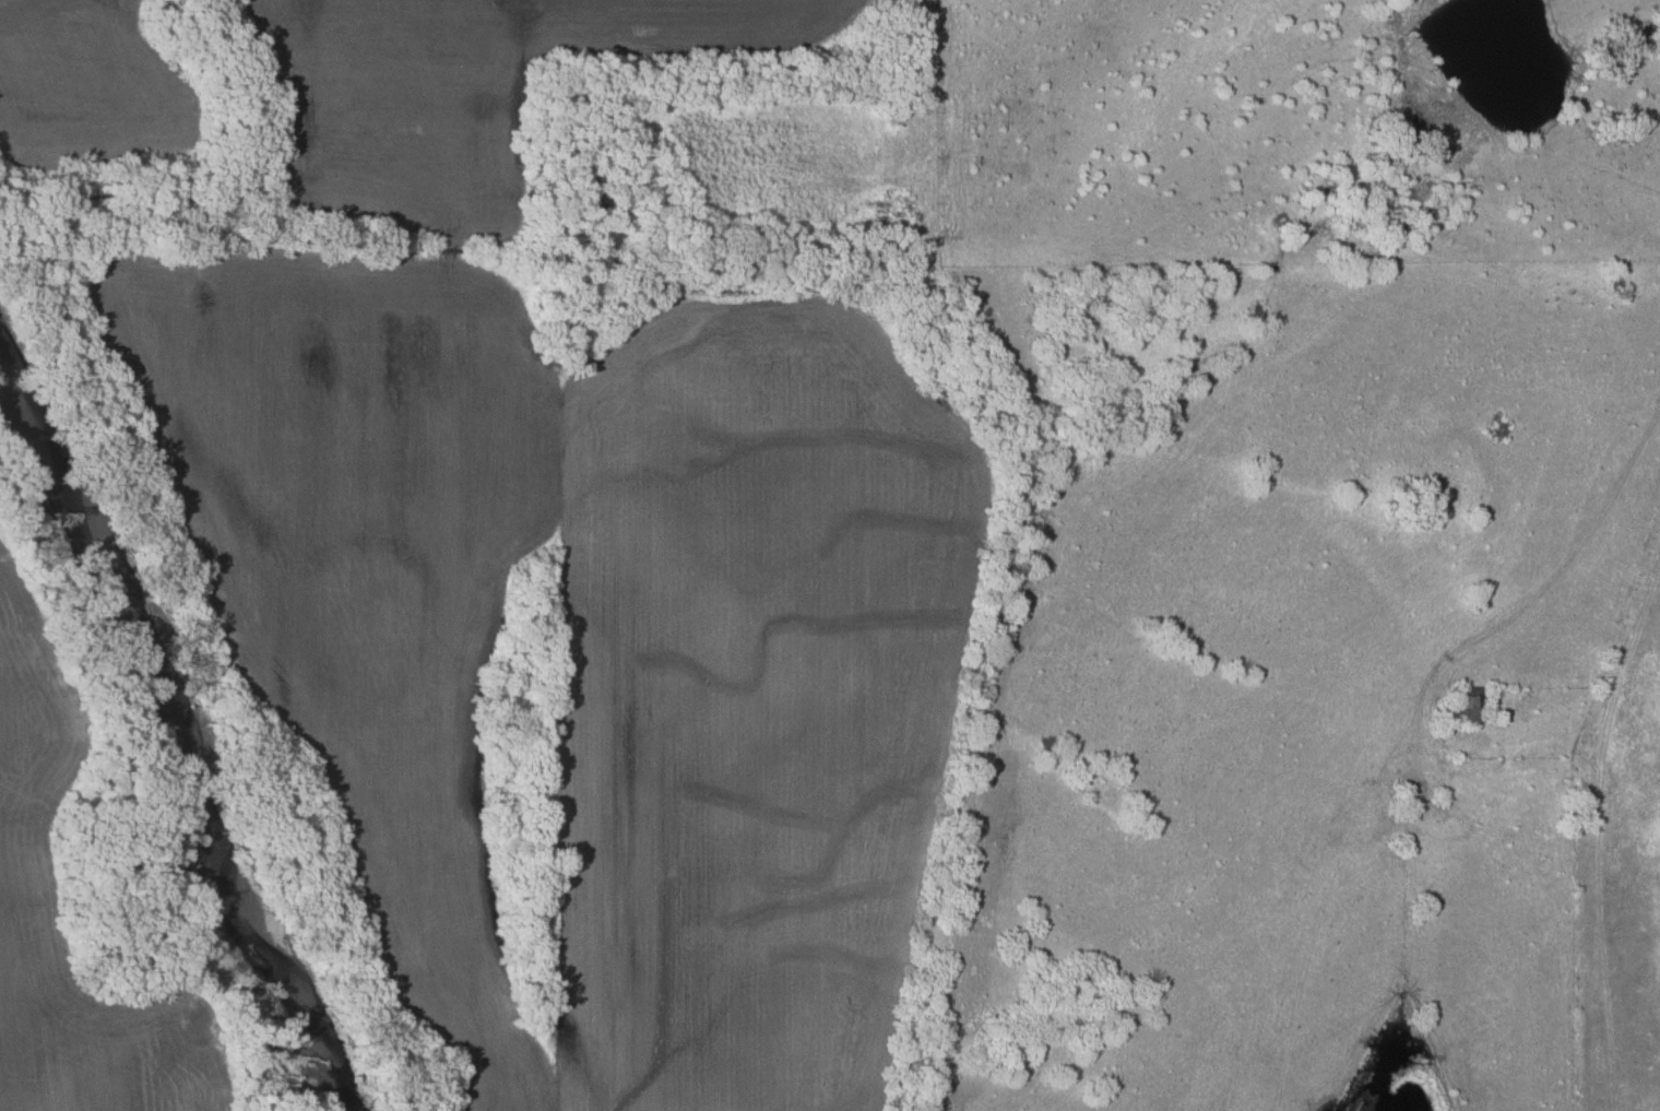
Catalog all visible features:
building: (1462, 709)

